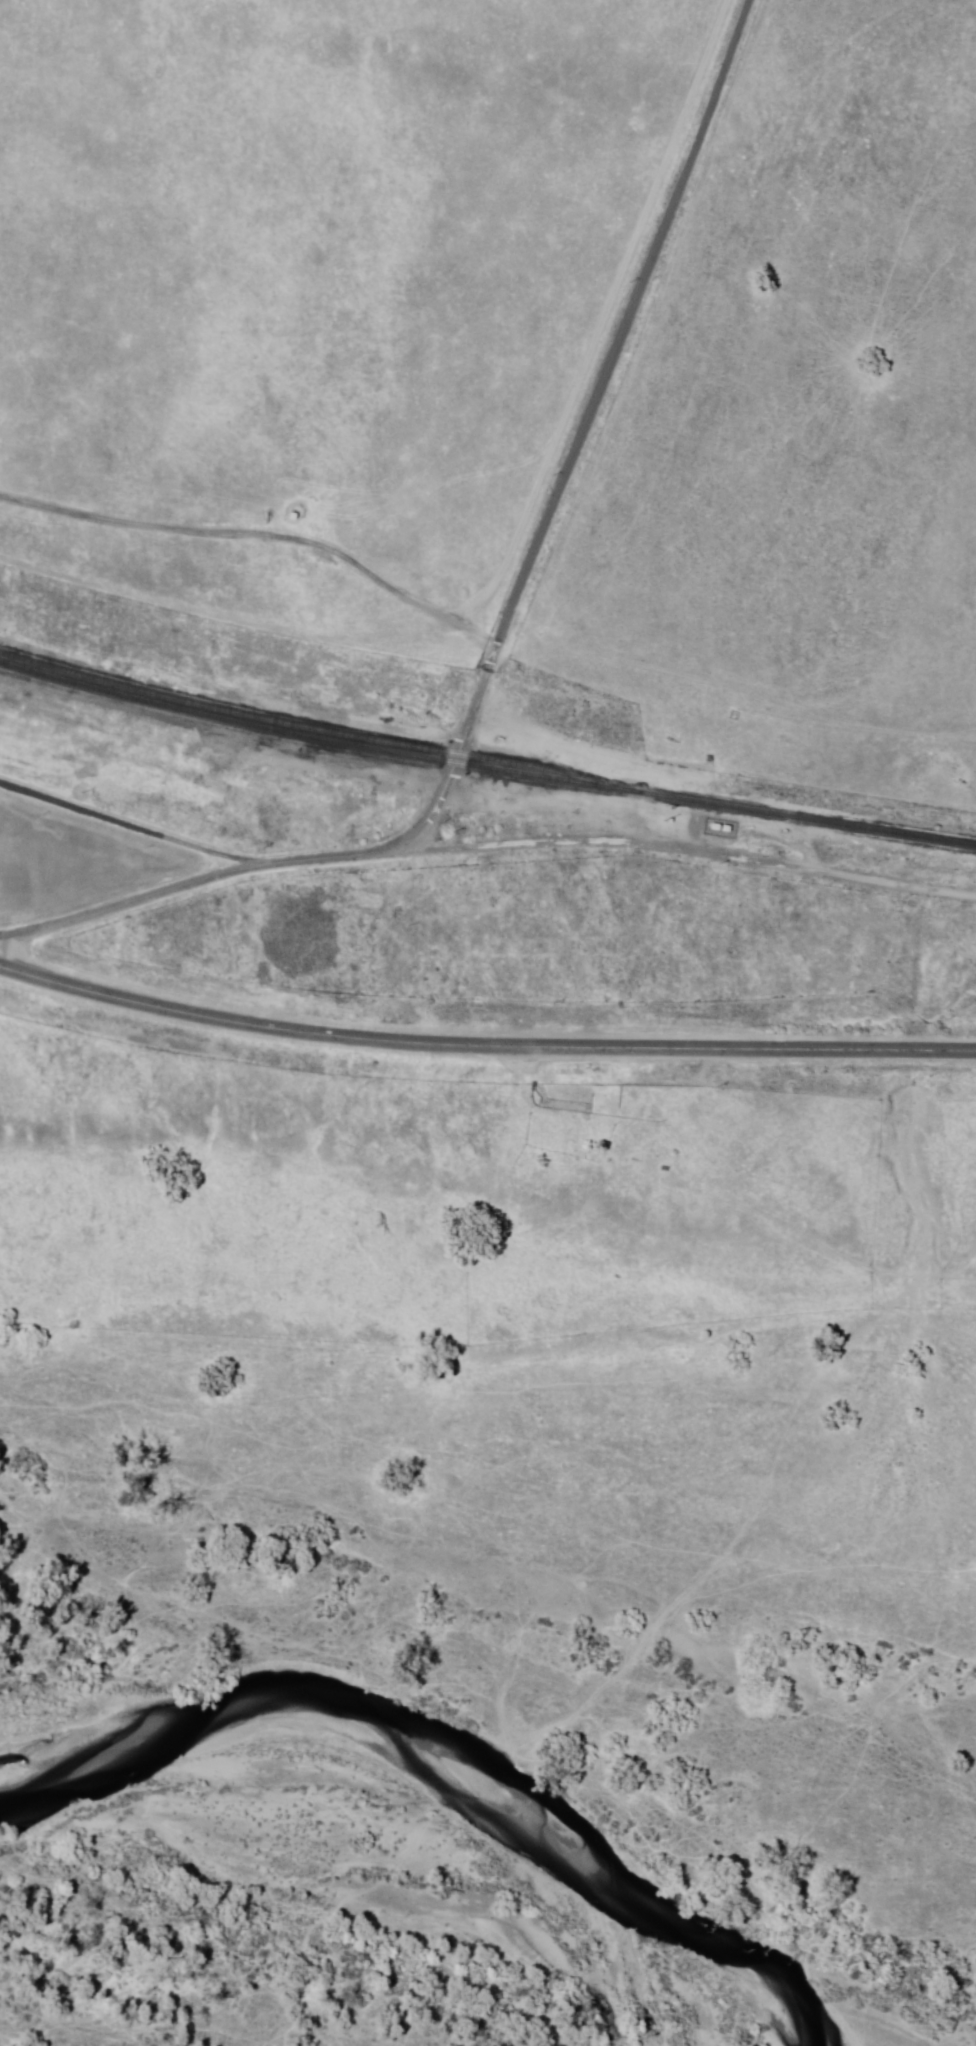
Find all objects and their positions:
road: (263, 543)
road: (512, 622)
railway: (313, 728)
railway: (313, 737)
railway: (803, 822)
road: (127, 831)
road: (691, 851)
building: (192, 945)
road: (484, 1050)
river: (447, 1729)
river: (898, 1997)

